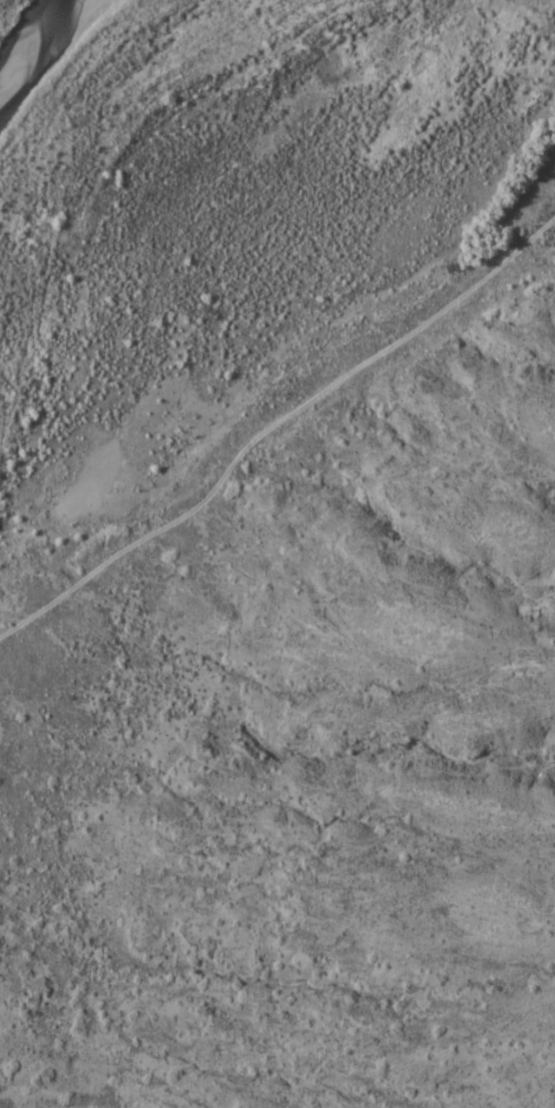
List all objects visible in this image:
river: (44, 120)

